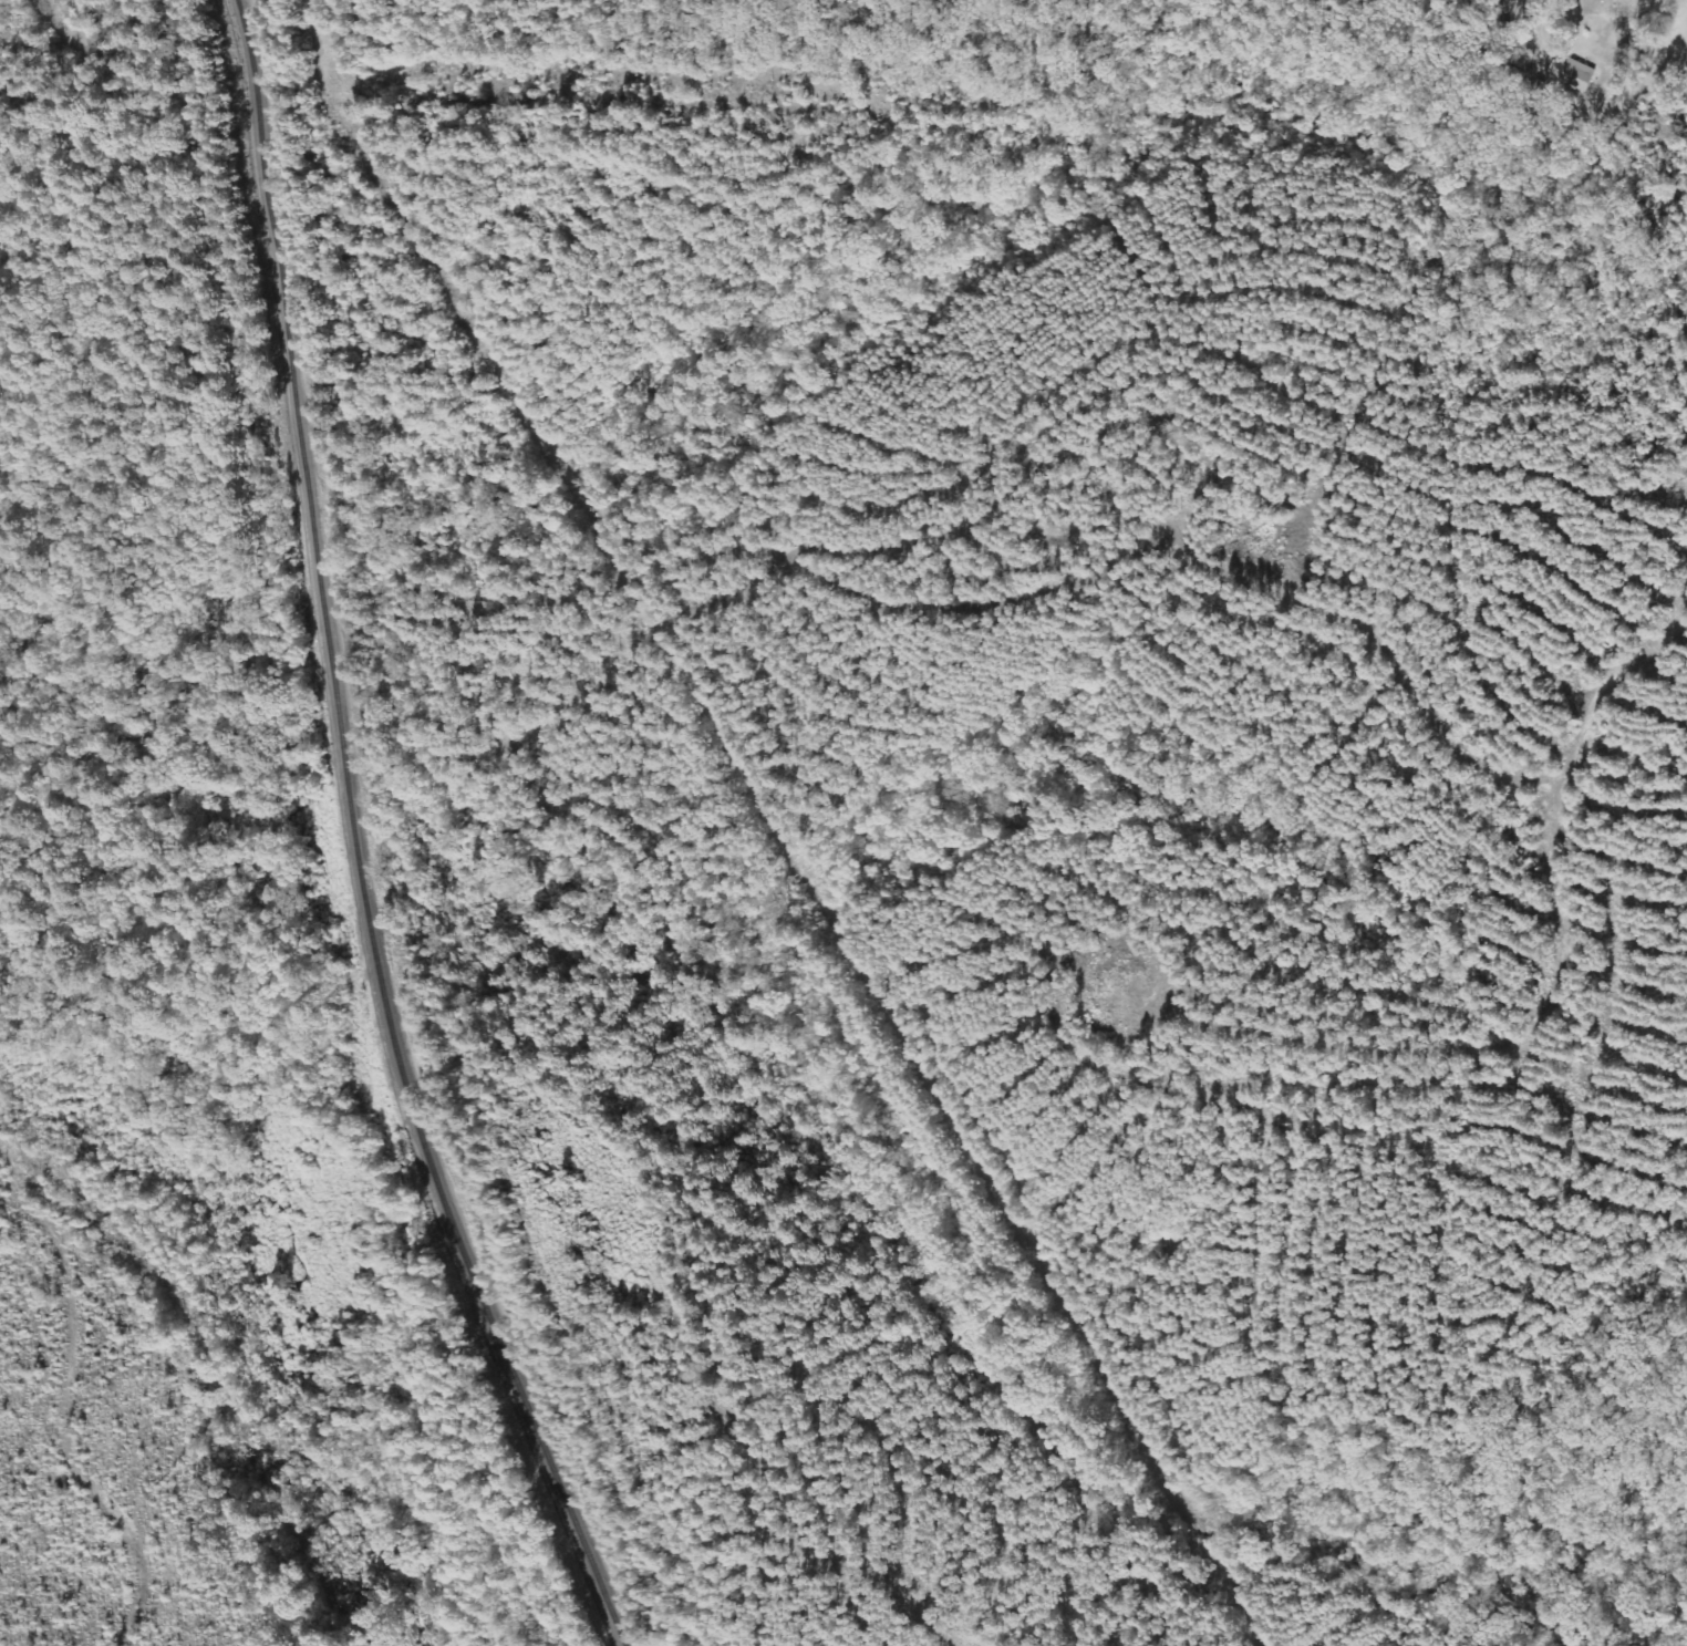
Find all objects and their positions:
building: (1570, 72)
railway: (366, 838)

